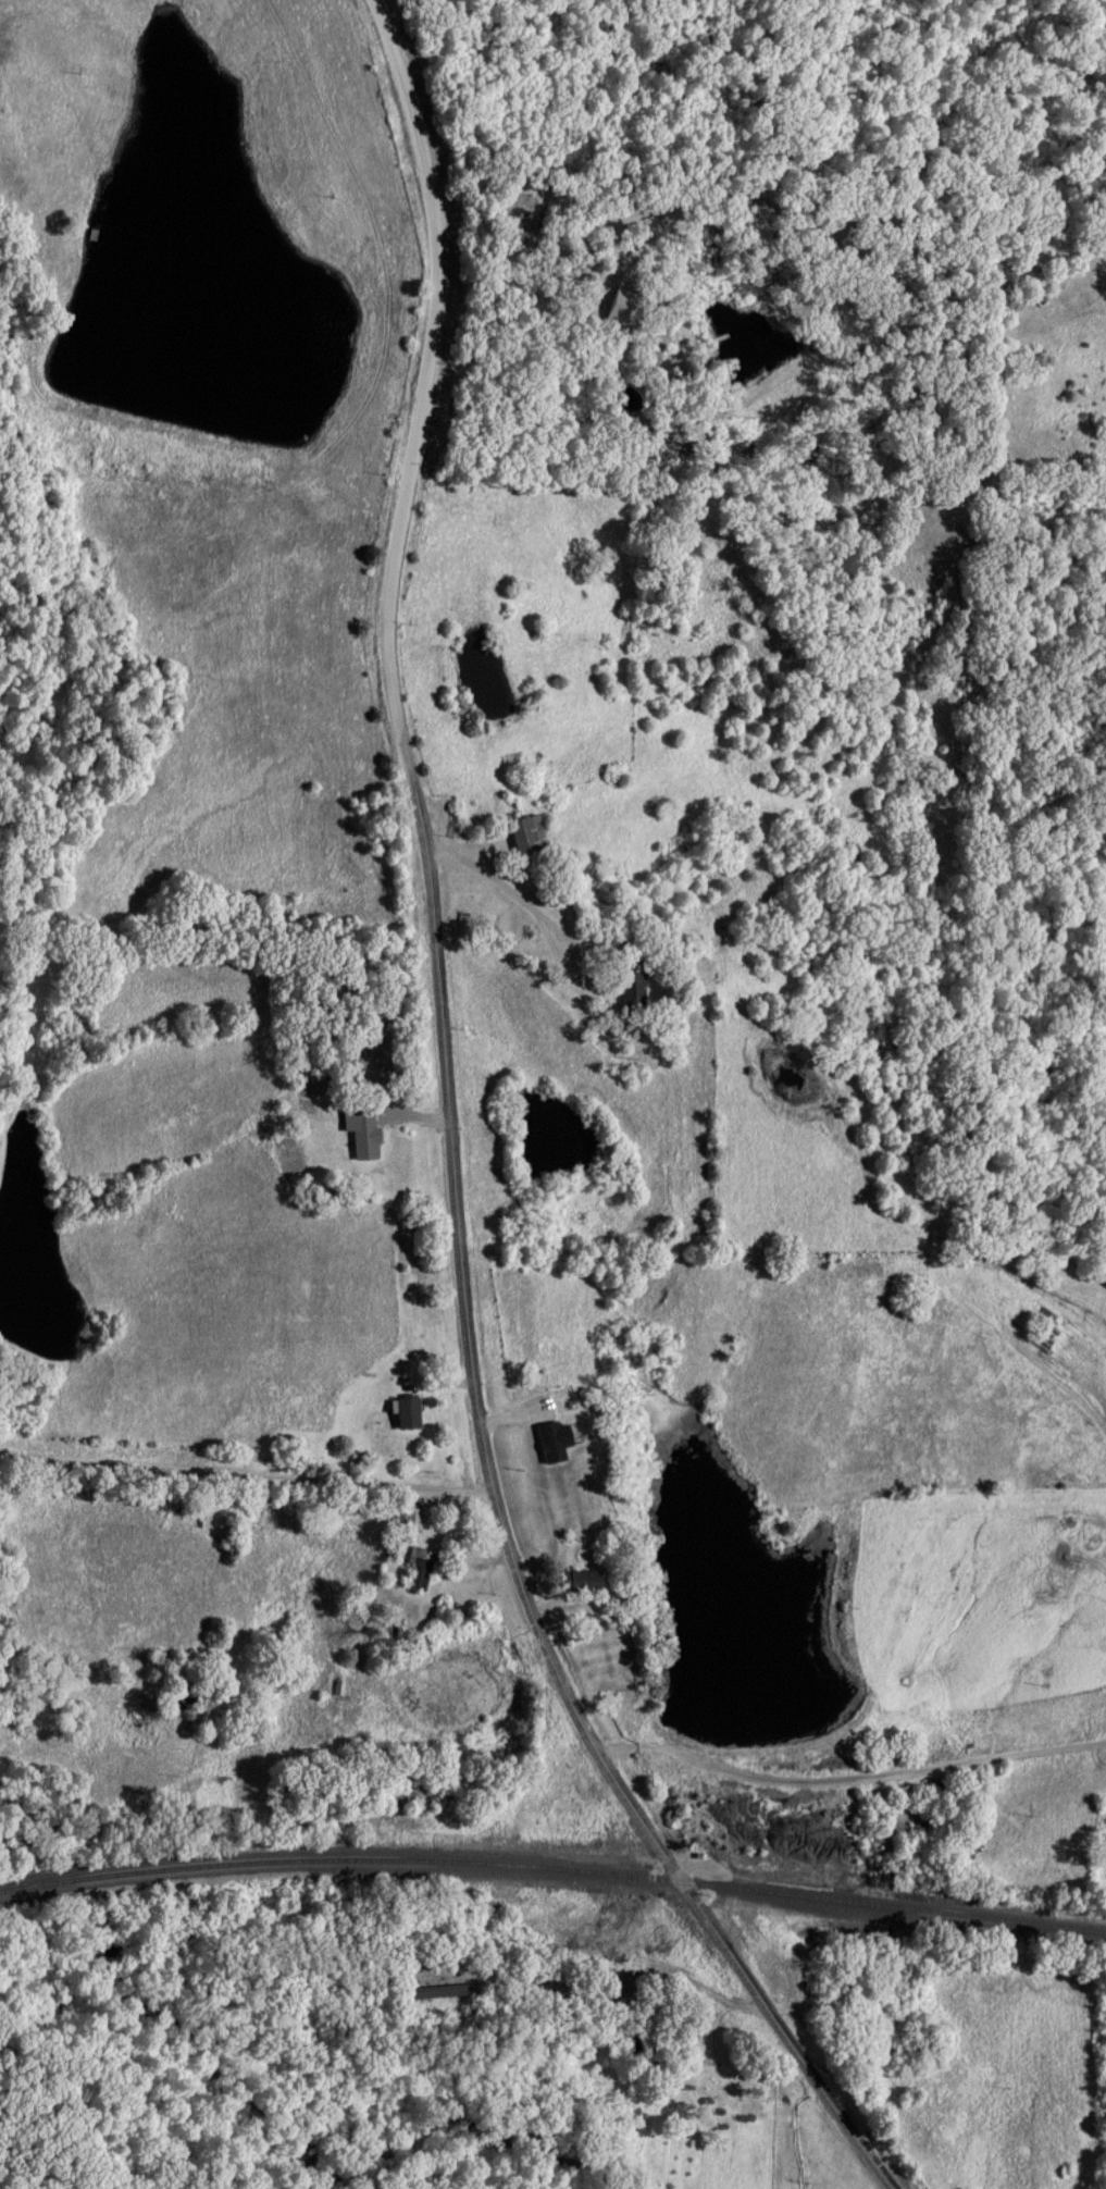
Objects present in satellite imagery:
road: (432, 185)
building: (533, 836)
building: (637, 986)
building: (368, 1136)
road: (469, 1335)
building: (411, 1414)
road: (508, 1414)
building: (551, 1446)
road: (543, 1469)
road: (248, 1479)
building: (412, 1519)
building: (423, 1562)
building: (587, 1582)
road: (850, 1783)
railway: (554, 1870)

